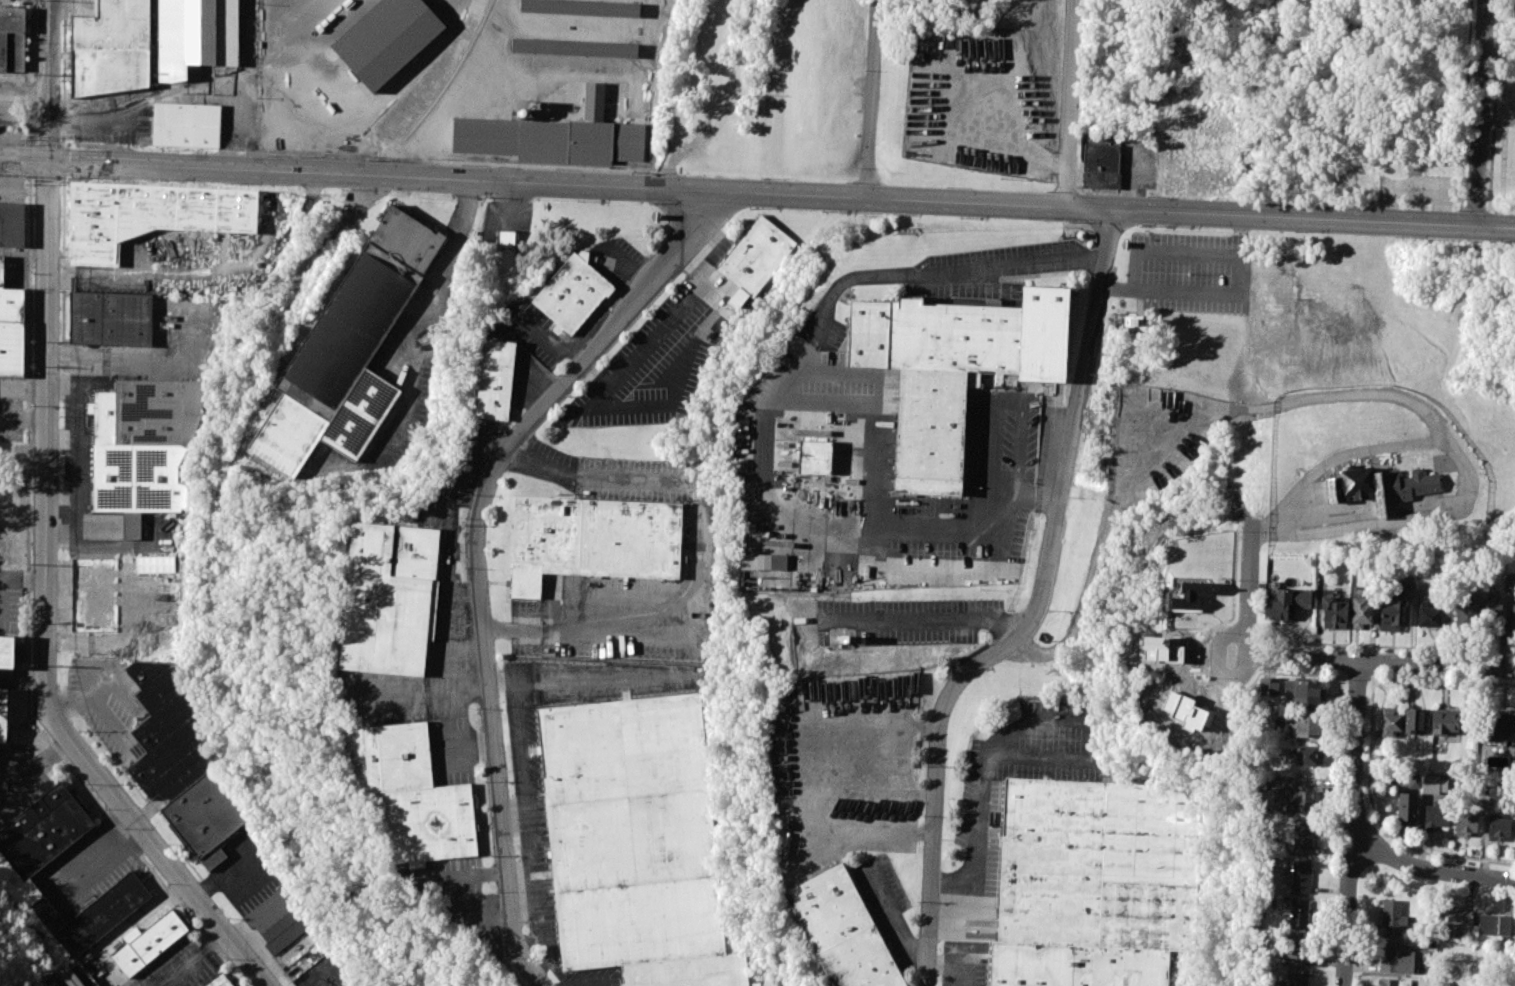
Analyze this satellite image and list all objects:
building: (582, 6)
street lamp: (1495, 21)
building: (196, 35)
road: (1269, 35)
building: (1514, 36)
building: (386, 39)
building: (12, 41)
street lamp: (33, 42)
building: (574, 47)
building: (110, 48)
railway: (453, 71)
road: (48, 80)
road: (873, 99)
parking lot: (976, 101)
road: (1072, 104)
street lamp: (1491, 110)
road: (1481, 113)
building: (185, 125)
street lamp: (66, 136)
building: (553, 138)
street lamp: (161, 150)
street lamp: (266, 155)
road: (24, 159)
street lamp: (370, 159)
traffic signals: (48, 161)
street lamp: (462, 163)
building: (1101, 166)
street lamp: (557, 167)
street lamp: (858, 168)
street lamp: (651, 172)
street lamp: (761, 177)
street lamp: (845, 182)
street lamp: (26, 184)
street lamp: (1078, 186)
street lamp: (945, 187)
street lamp: (1046, 191)
road: (781, 194)
street lamp: (1148, 195)
street lamp: (1252, 199)
street lamp: (1486, 199)
street lamp: (1355, 205)
road: (511, 207)
street lamp: (1457, 210)
building: (148, 215)
building: (10, 224)
road: (1168, 251)
road: (881, 252)
building: (507, 253)
building: (756, 254)
street lamp: (32, 272)
parking lot: (1191, 273)
building: (572, 292)
road: (1209, 295)
road: (1141, 304)
road: (417, 314)
building: (110, 319)
building: (1134, 322)
building: (10, 328)
road: (658, 331)
road: (545, 342)
building: (348, 349)
parking lot: (653, 365)
building: (952, 368)
street lamp: (32, 371)
building: (496, 378)
road: (1309, 398)
road: (768, 414)
parking lot: (1156, 439)
building: (144, 449)
building: (814, 457)
road: (1334, 458)
street lamp: (31, 472)
parking lot: (878, 480)
building: (1378, 488)
road: (463, 502)
building: (1407, 520)
building: (591, 539)
road: (701, 547)
road: (462, 550)
road: (476, 555)
building: (763, 562)
street lamp: (30, 563)
building: (154, 564)
building: (1510, 582)
building: (1406, 583)
road: (1250, 585)
road: (466, 592)
building: (1187, 596)
building: (388, 598)
building: (1473, 598)
building: (1287, 602)
road: (44, 611)
road: (1318, 612)
building: (1334, 612)
building: (1361, 612)
building: (1393, 612)
building: (1429, 614)
road: (1035, 615)
building: (1465, 618)
road: (924, 619)
building: (1492, 619)
building: (1513, 619)
parking lot: (905, 621)
building: (843, 639)
road: (463, 644)
building: (6, 650)
road: (1380, 662)
building: (1269, 685)
road: (462, 690)
building: (1305, 690)
road: (97, 699)
building: (4, 715)
building: (1445, 721)
building: (1414, 722)
building: (1390, 723)
building: (1303, 726)
building: (1500, 726)
building: (168, 729)
road: (890, 745)
road: (1369, 753)
building: (1308, 755)
road: (36, 767)
parking lot: (842, 767)
building: (1431, 784)
road: (983, 787)
building: (1487, 788)
building: (416, 796)
building: (1295, 800)
building: (1405, 808)
road: (905, 814)
building: (1436, 815)
building: (206, 817)
road: (1351, 824)
building: (1464, 824)
building: (1497, 828)
building: (1302, 837)
building: (635, 841)
building: (32, 848)
road: (1429, 869)
building: (1300, 877)
building: (1094, 881)
road: (59, 883)
road: (156, 902)
building: (1299, 914)
building: (1392, 917)
road: (891, 918)
building: (1457, 920)
building: (277, 921)
building: (1495, 924)
building: (843, 930)
building: (146, 942)
road: (100, 951)
building: (1298, 951)
building: (1394, 957)
road: (191, 960)
road: (953, 966)
building: (336, 967)
building: (1292, 980)
building: (219, 981)
building: (1394, 982)
building: (1442, 983)

